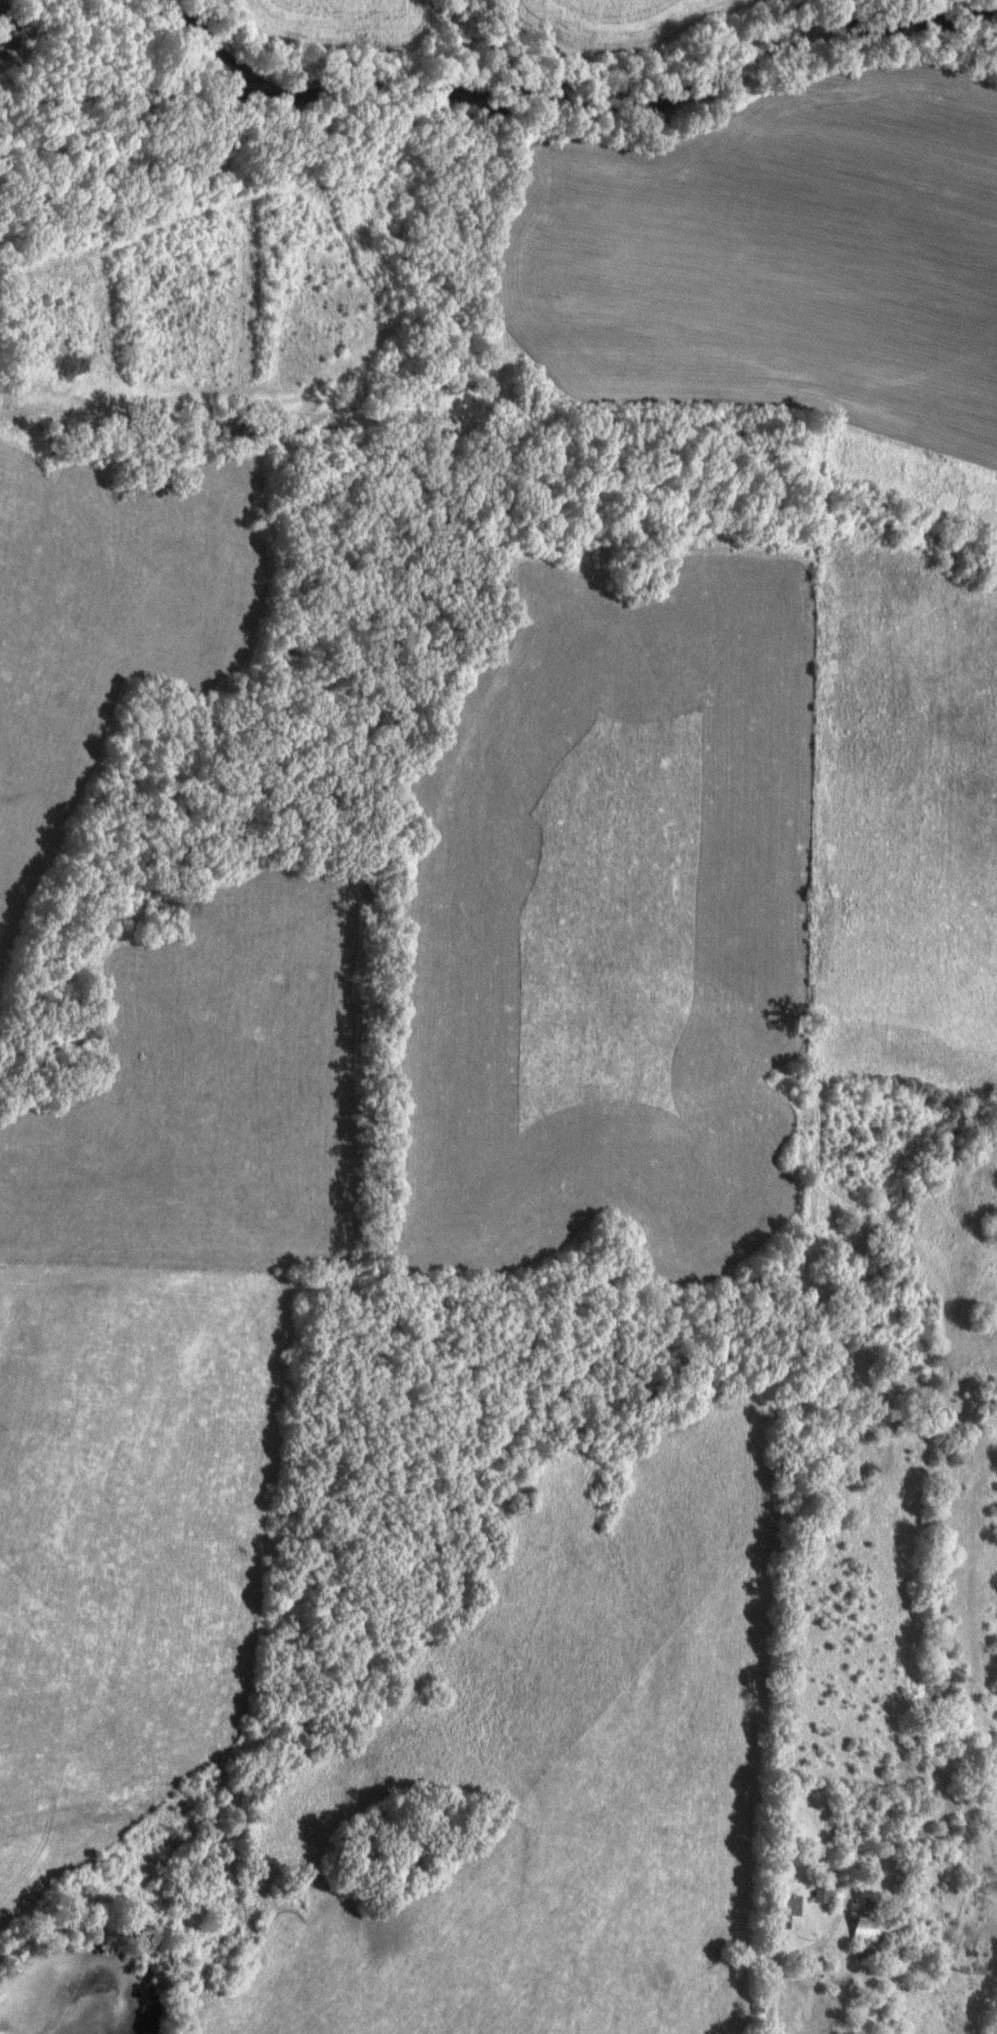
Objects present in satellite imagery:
building: (826, 1894)
building: (786, 1904)
building: (871, 1920)
road: (773, 1992)

